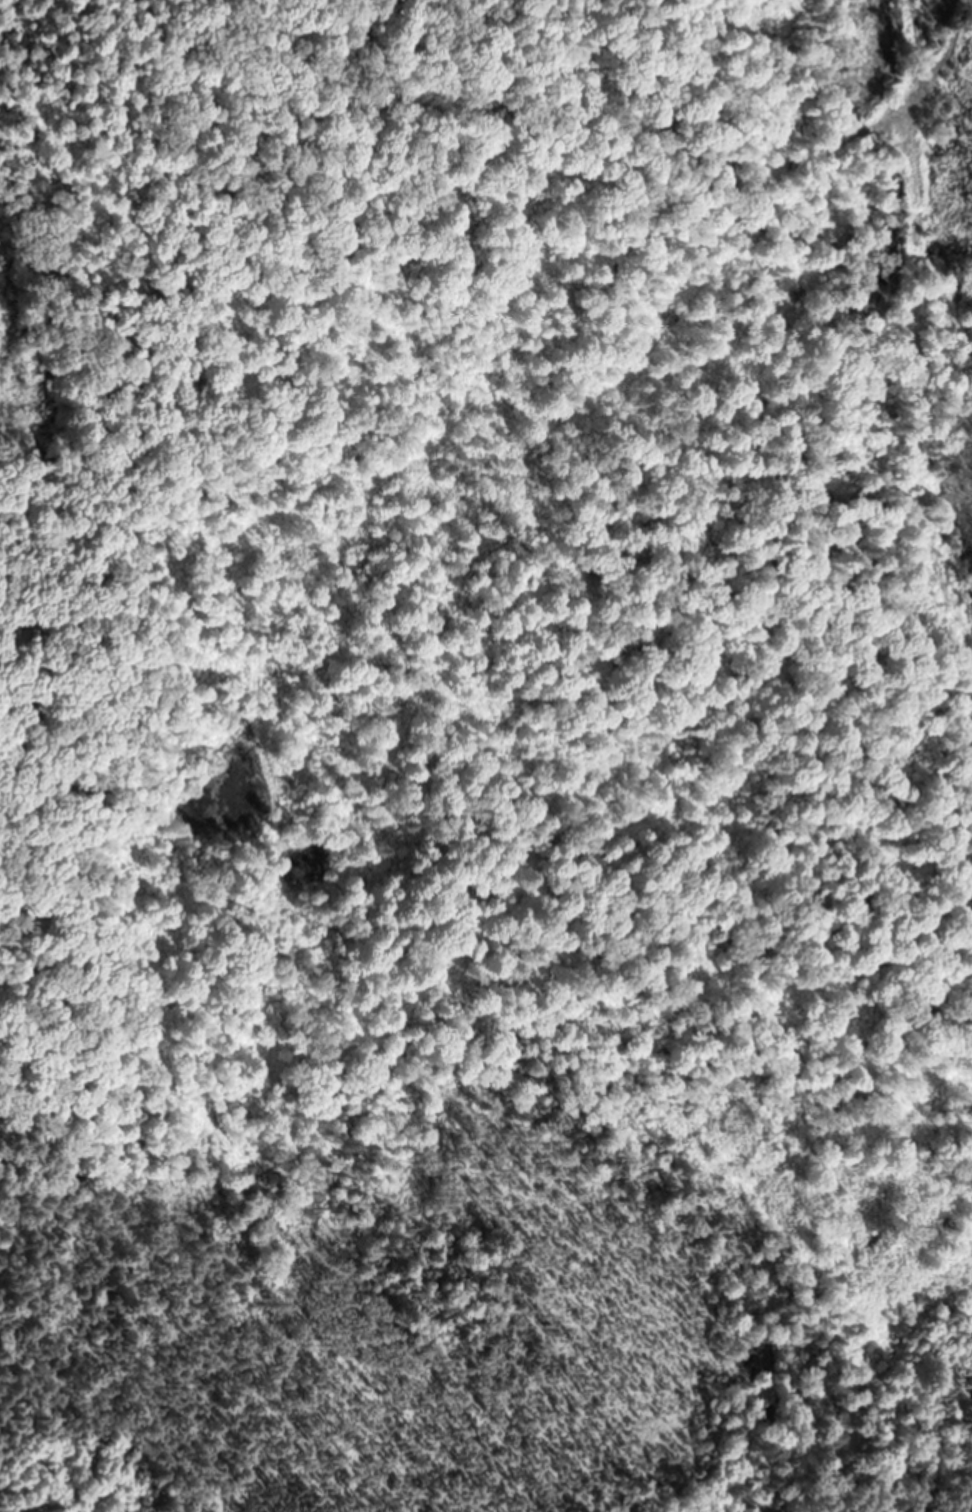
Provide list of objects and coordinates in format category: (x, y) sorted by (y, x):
road: (935, 61)

